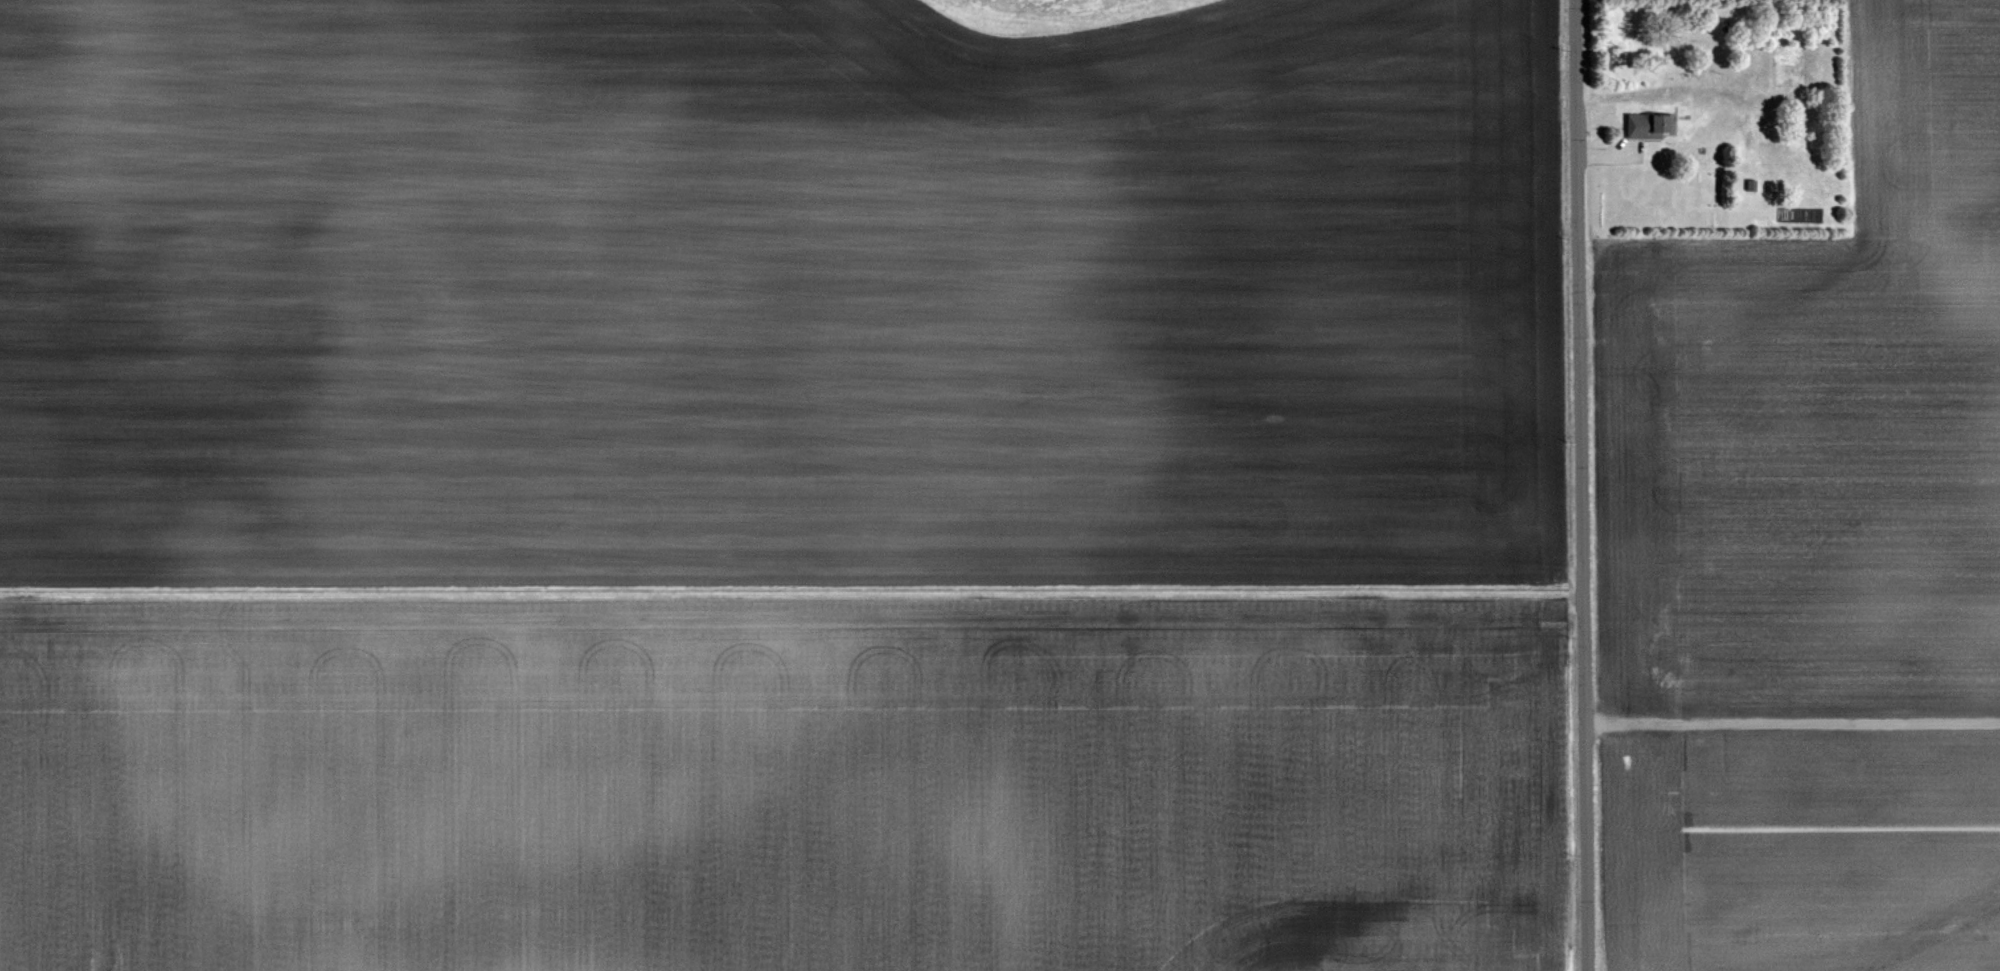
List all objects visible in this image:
building: (1647, 124)
road: (1578, 485)
road: (1791, 721)

